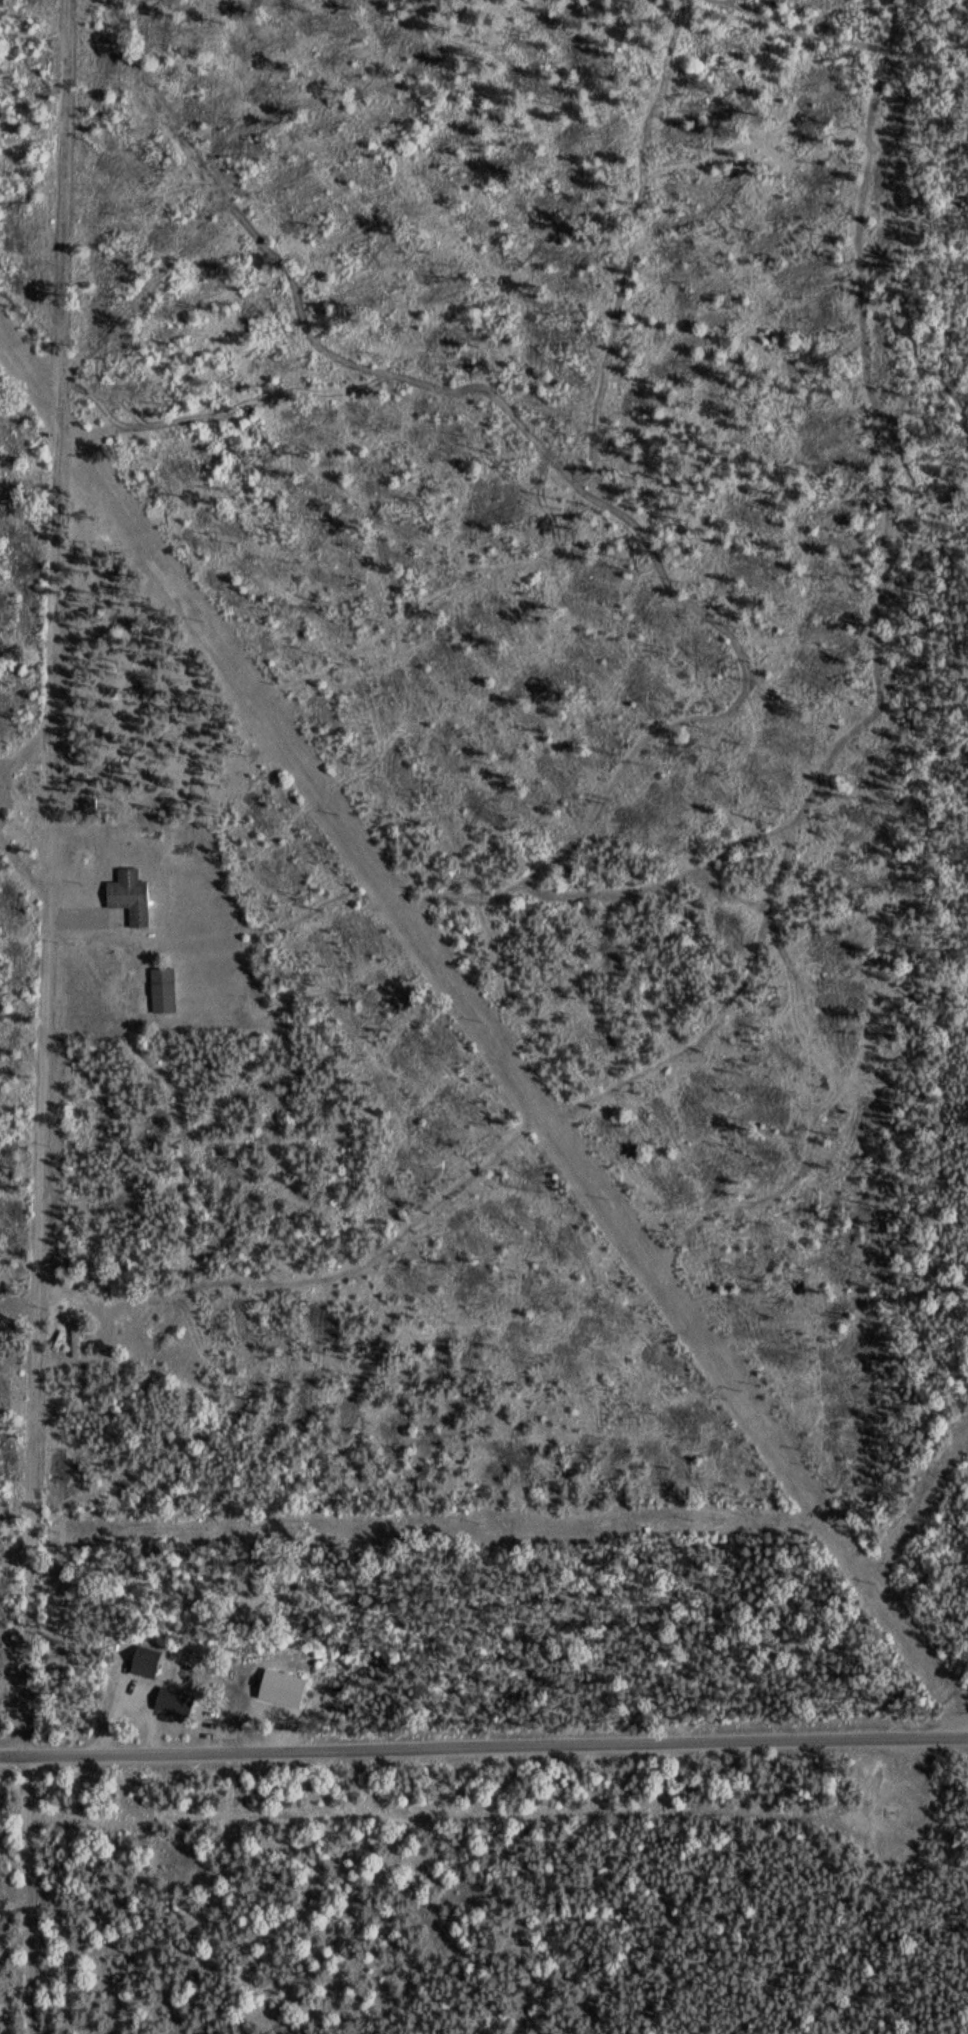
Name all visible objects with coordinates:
road: (249, 452)
road: (47, 879)
building: (126, 901)
building: (157, 991)
road: (19, 1292)
building: (74, 1339)
building: (143, 1662)
road: (129, 1694)
building: (173, 1703)
road: (499, 1747)
road: (15, 1759)
road: (30, 1787)
road: (27, 1925)

